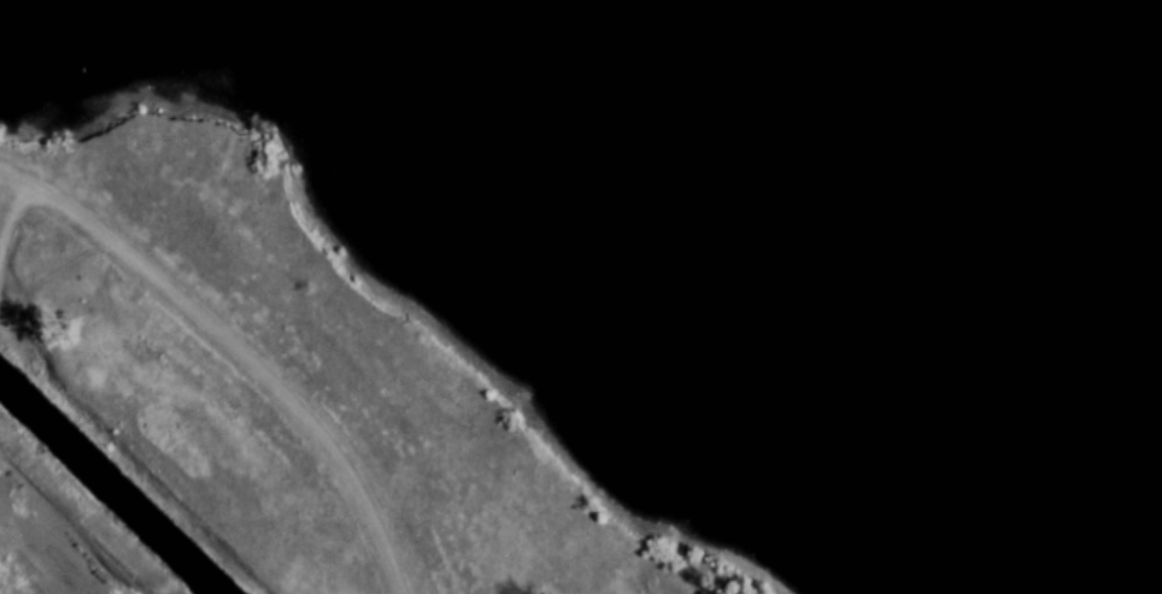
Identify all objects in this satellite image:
road: (233, 355)

